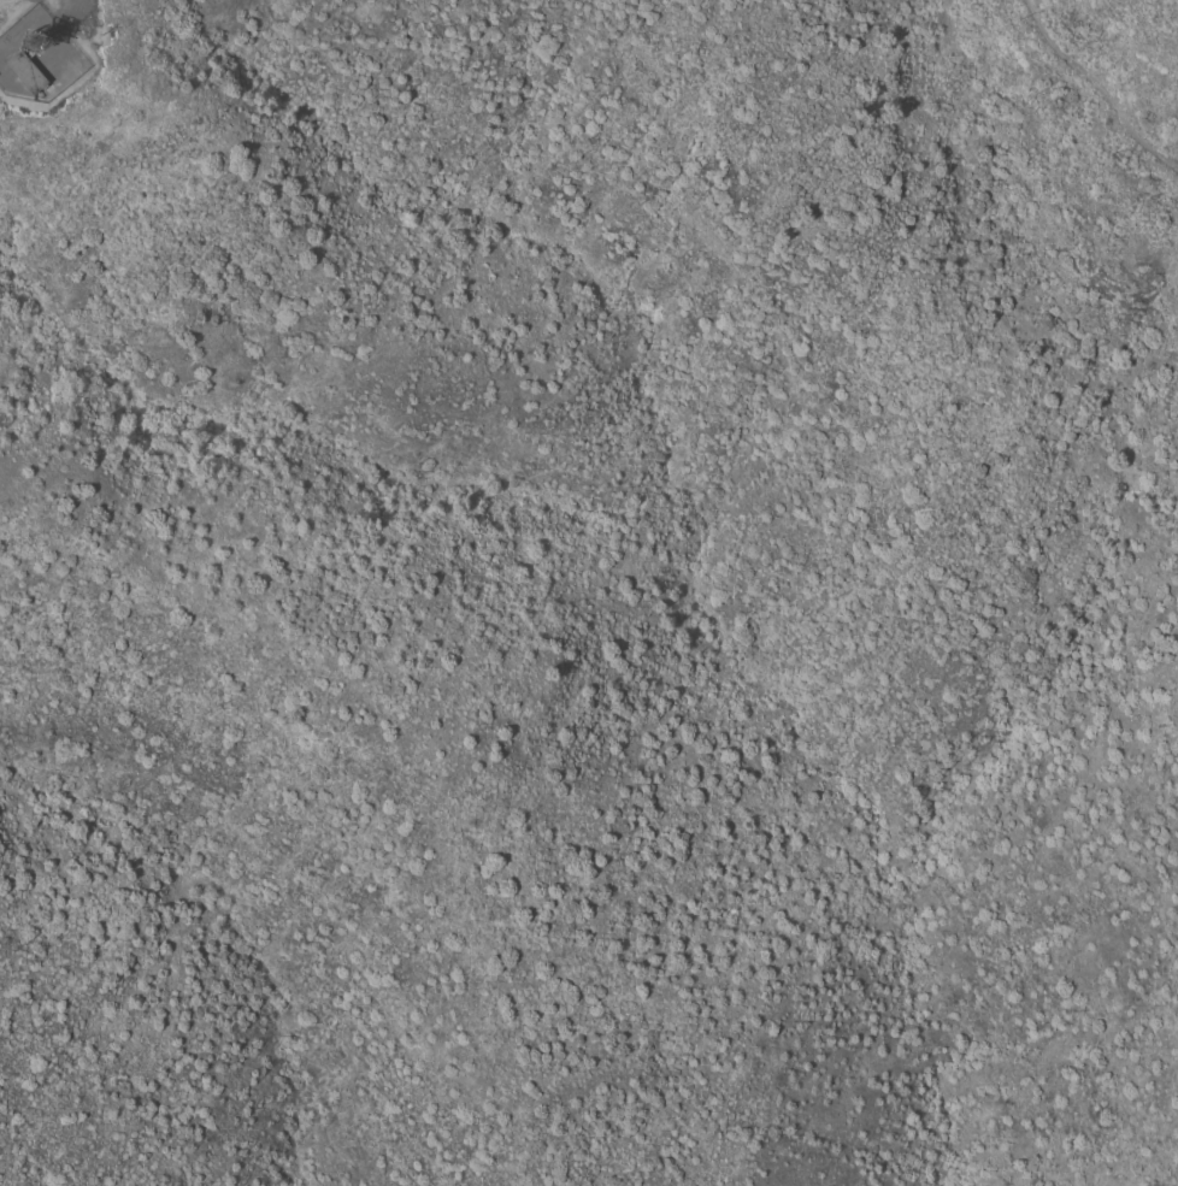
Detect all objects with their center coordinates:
road: (1092, 96)

